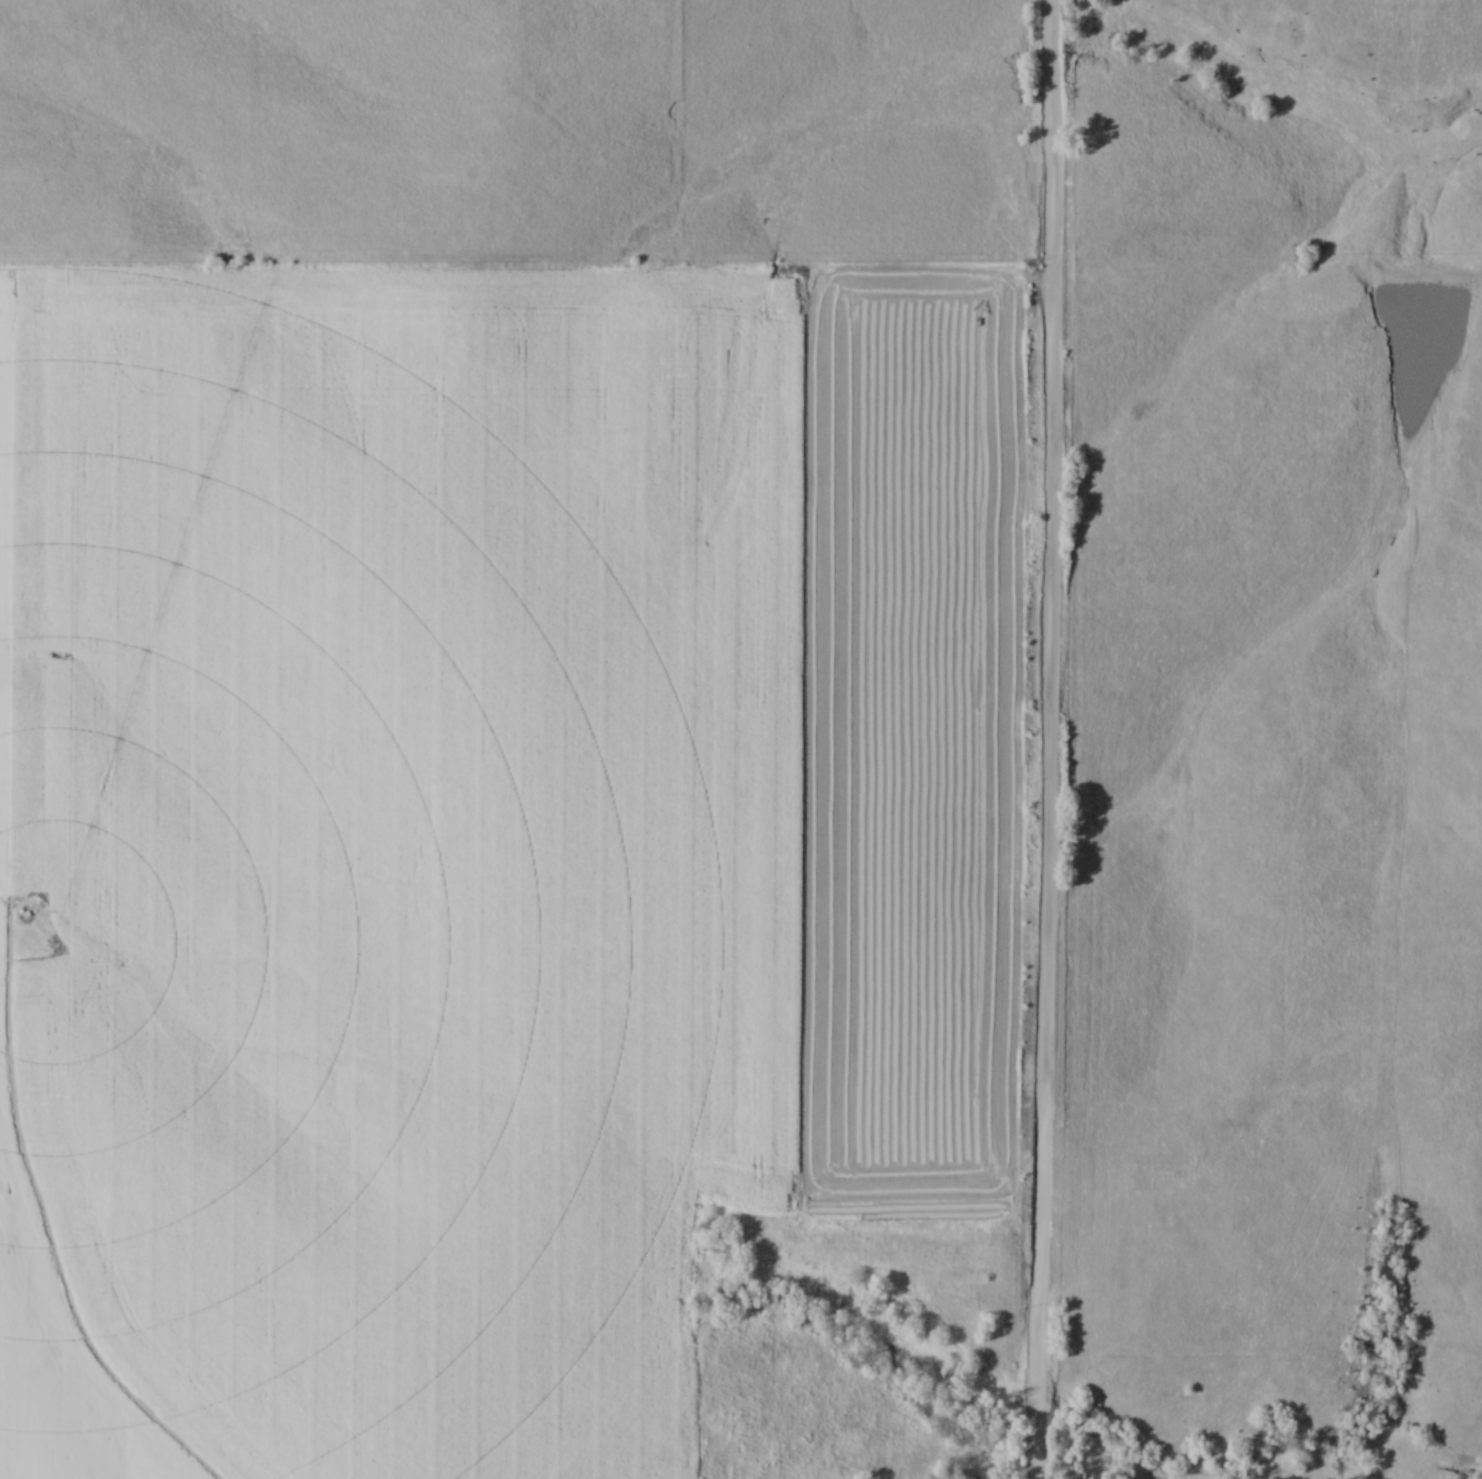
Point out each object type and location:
road: (1047, 739)

